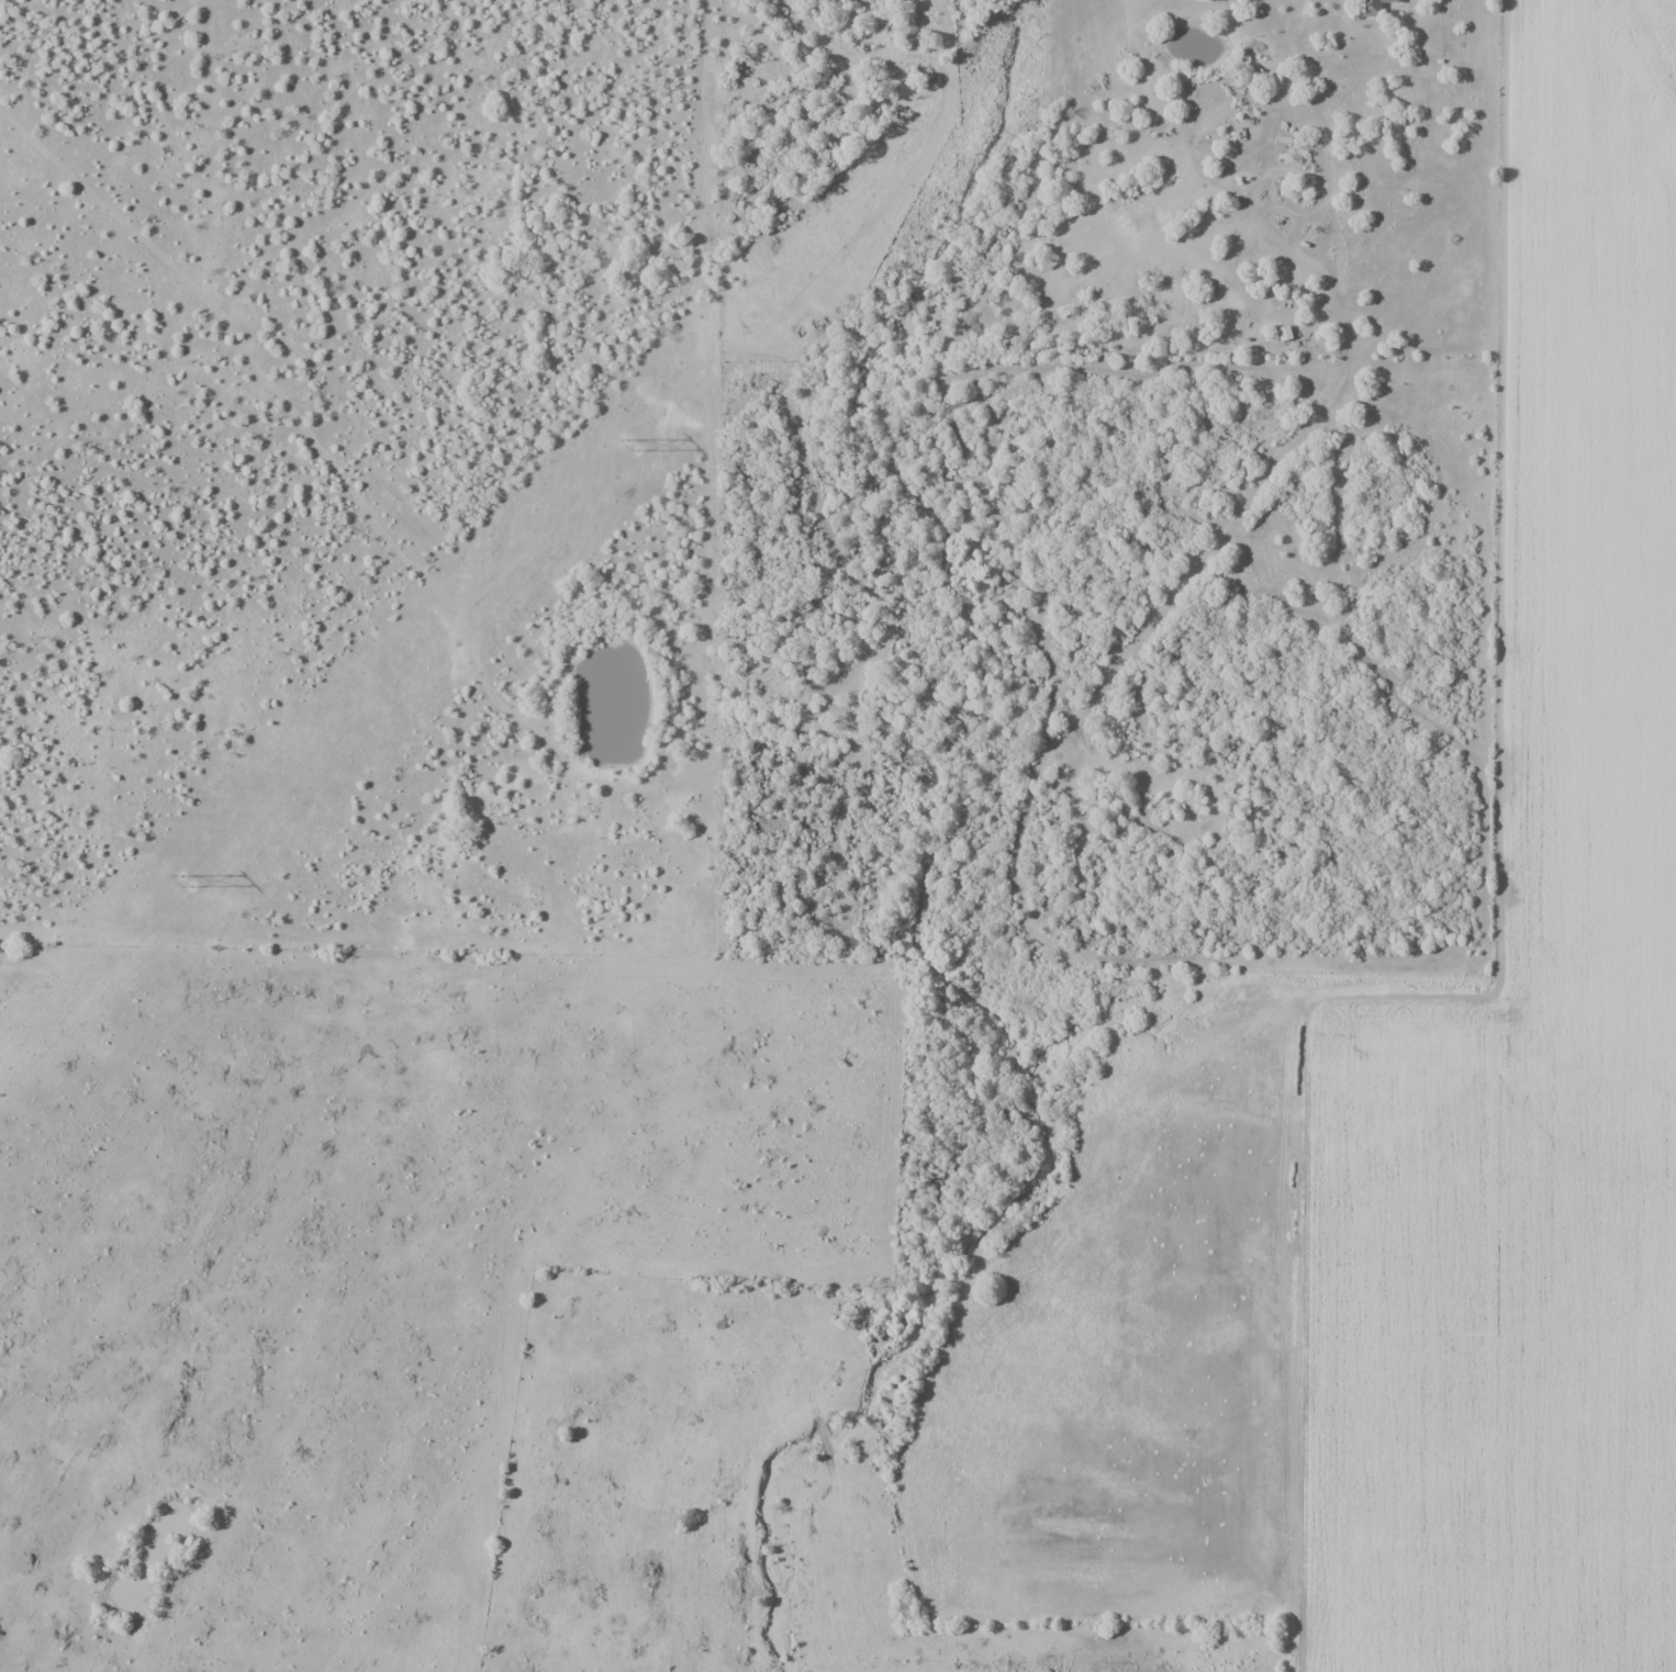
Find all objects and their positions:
building: (1372, 7)
power tower: (632, 442)
power tower: (182, 877)

